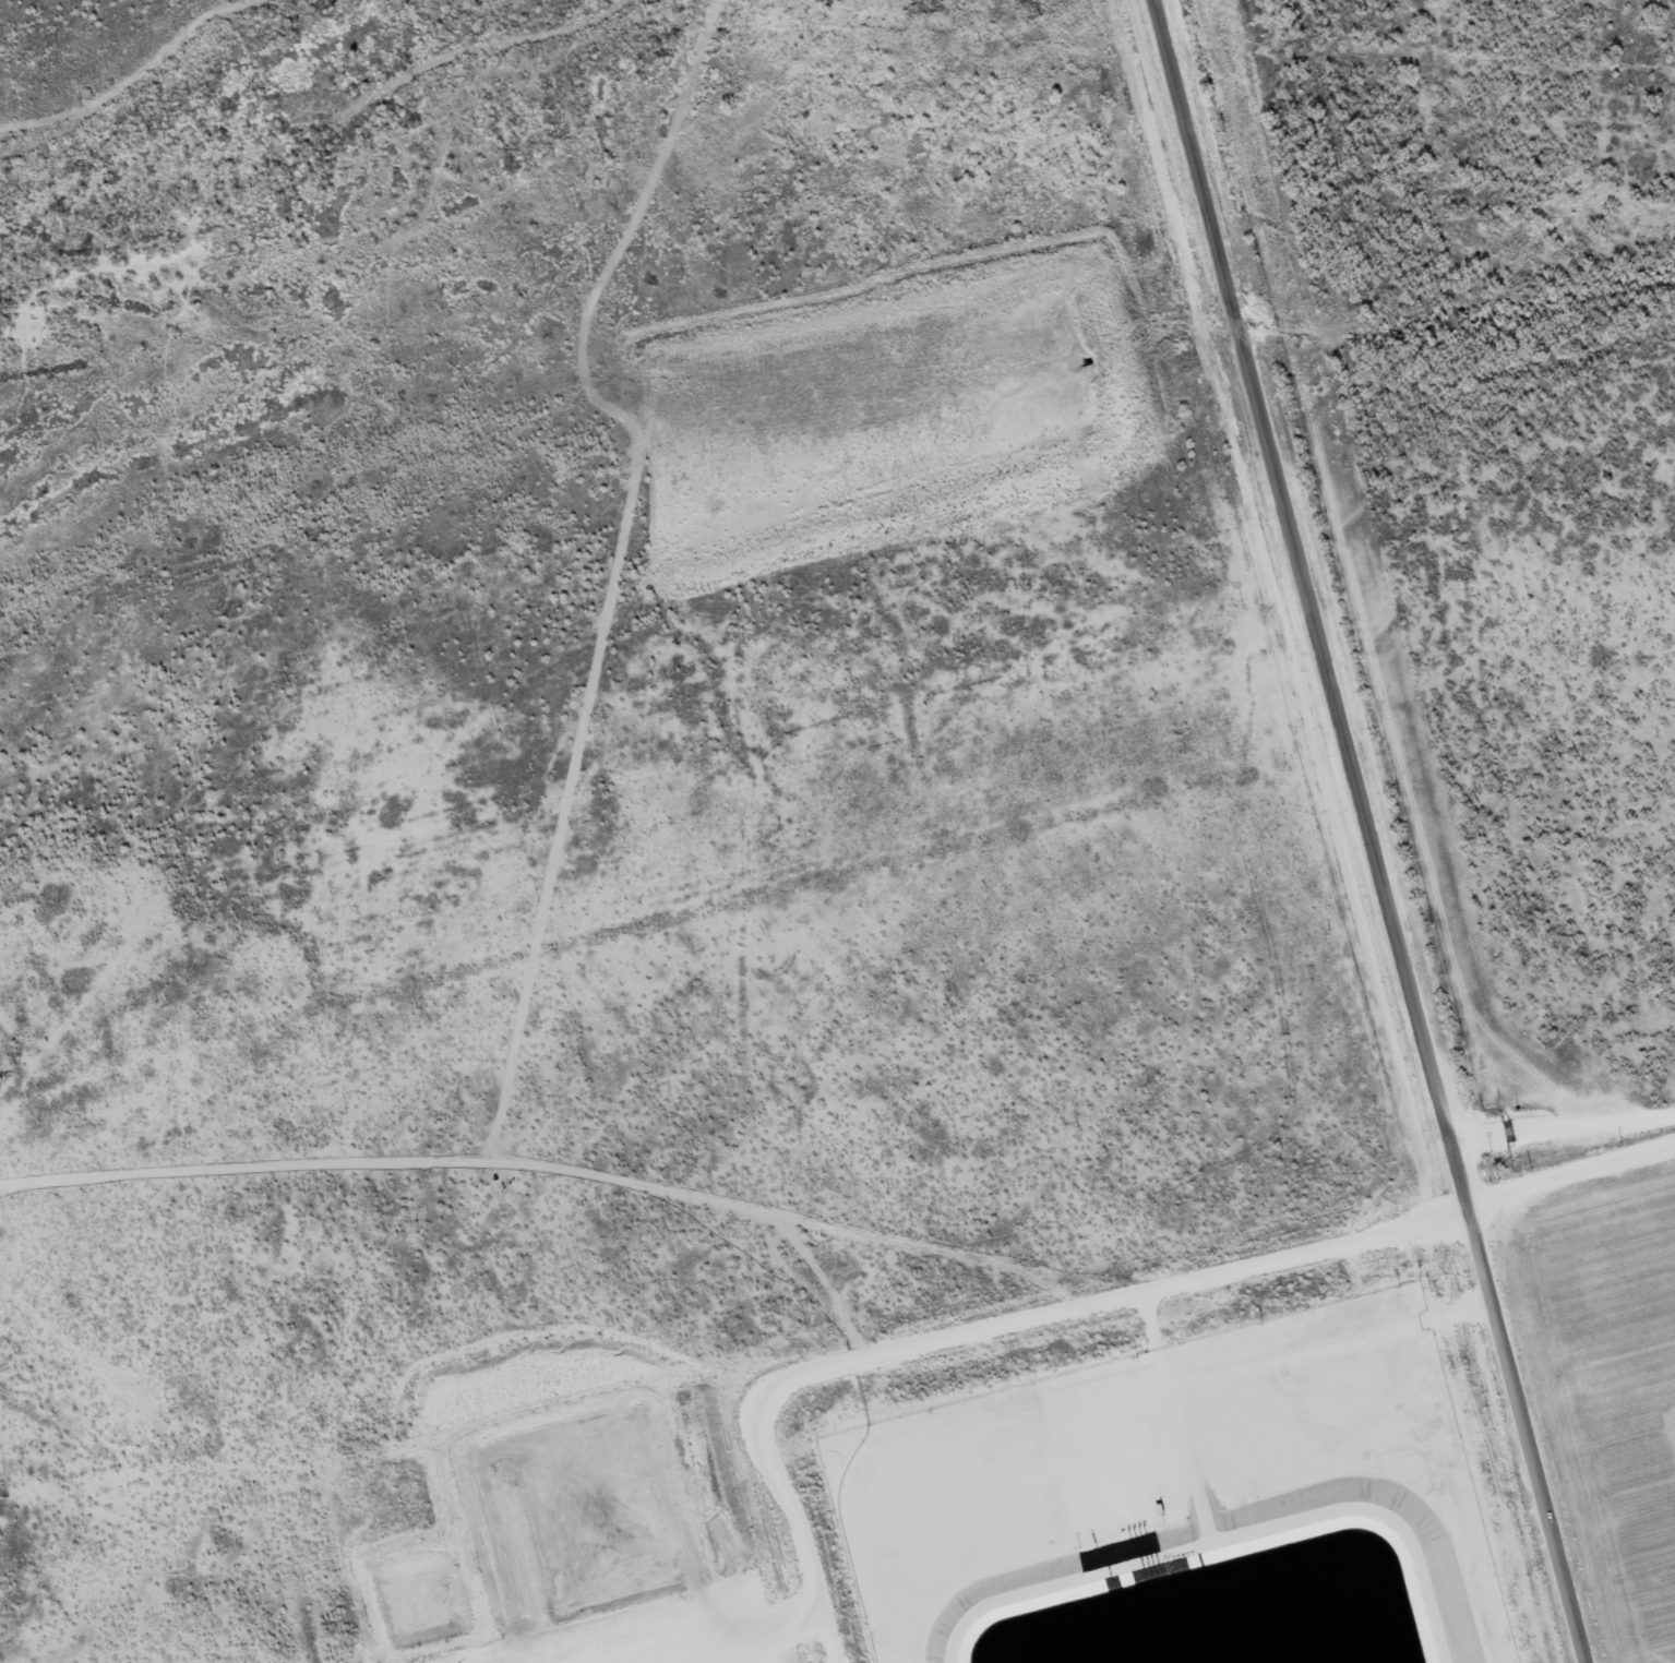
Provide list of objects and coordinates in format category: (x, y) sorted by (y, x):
road: (1367, 829)
road: (1562, 1126)
road: (1568, 1167)

